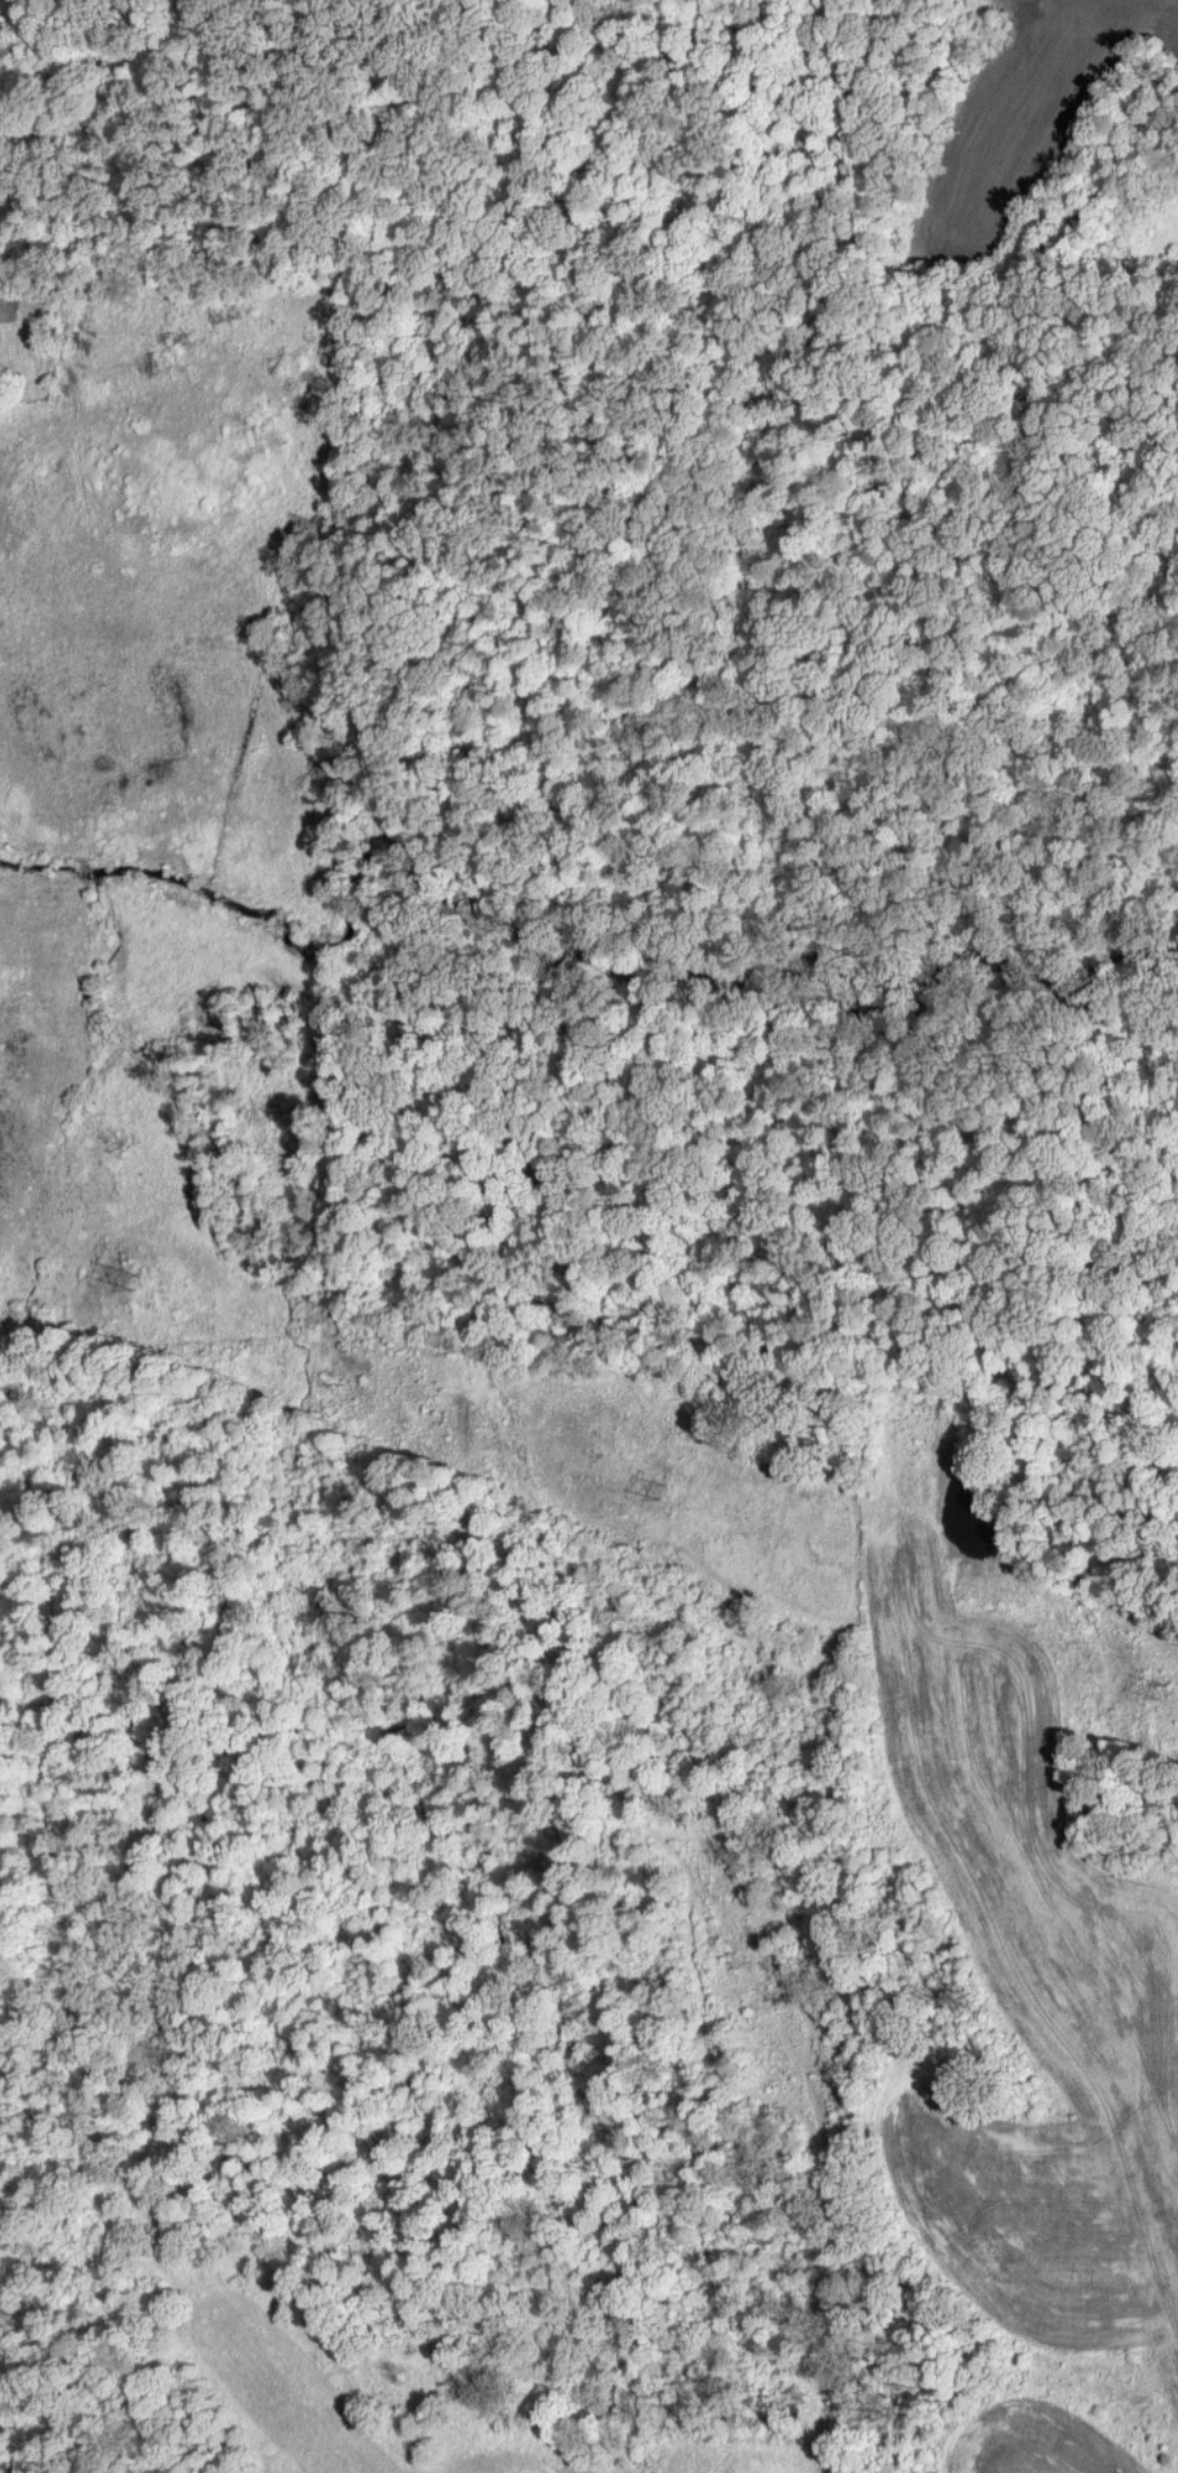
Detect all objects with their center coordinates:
power tower: (145, 1283)
power tower: (663, 1489)
power tower: (1162, 1688)

